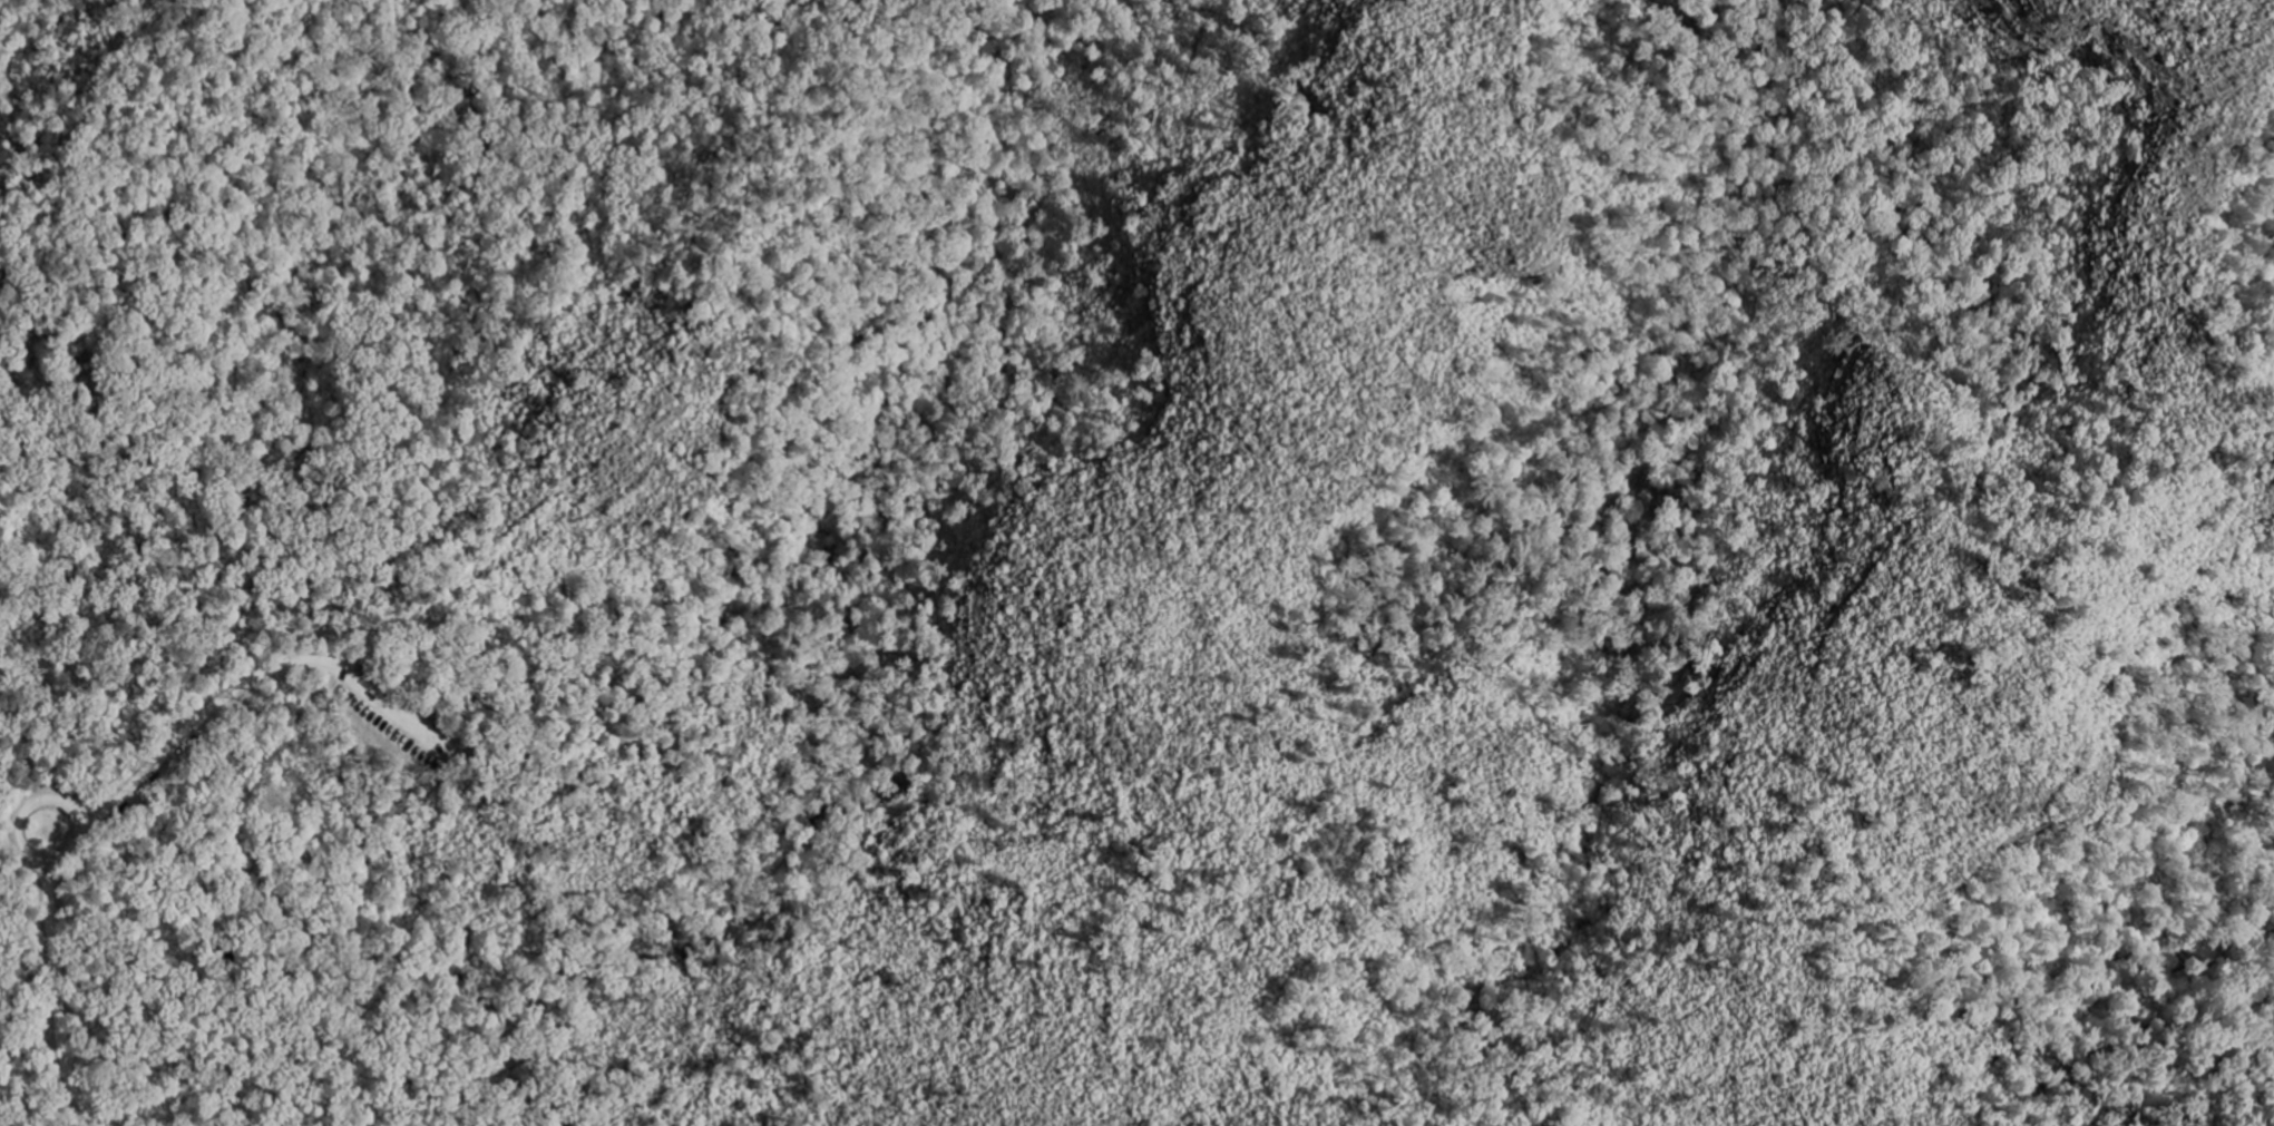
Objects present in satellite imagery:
road: (370, 539)
road: (167, 623)
parking lot: (400, 715)
road: (29, 734)
road: (126, 795)
road: (76, 821)
road: (25, 841)

